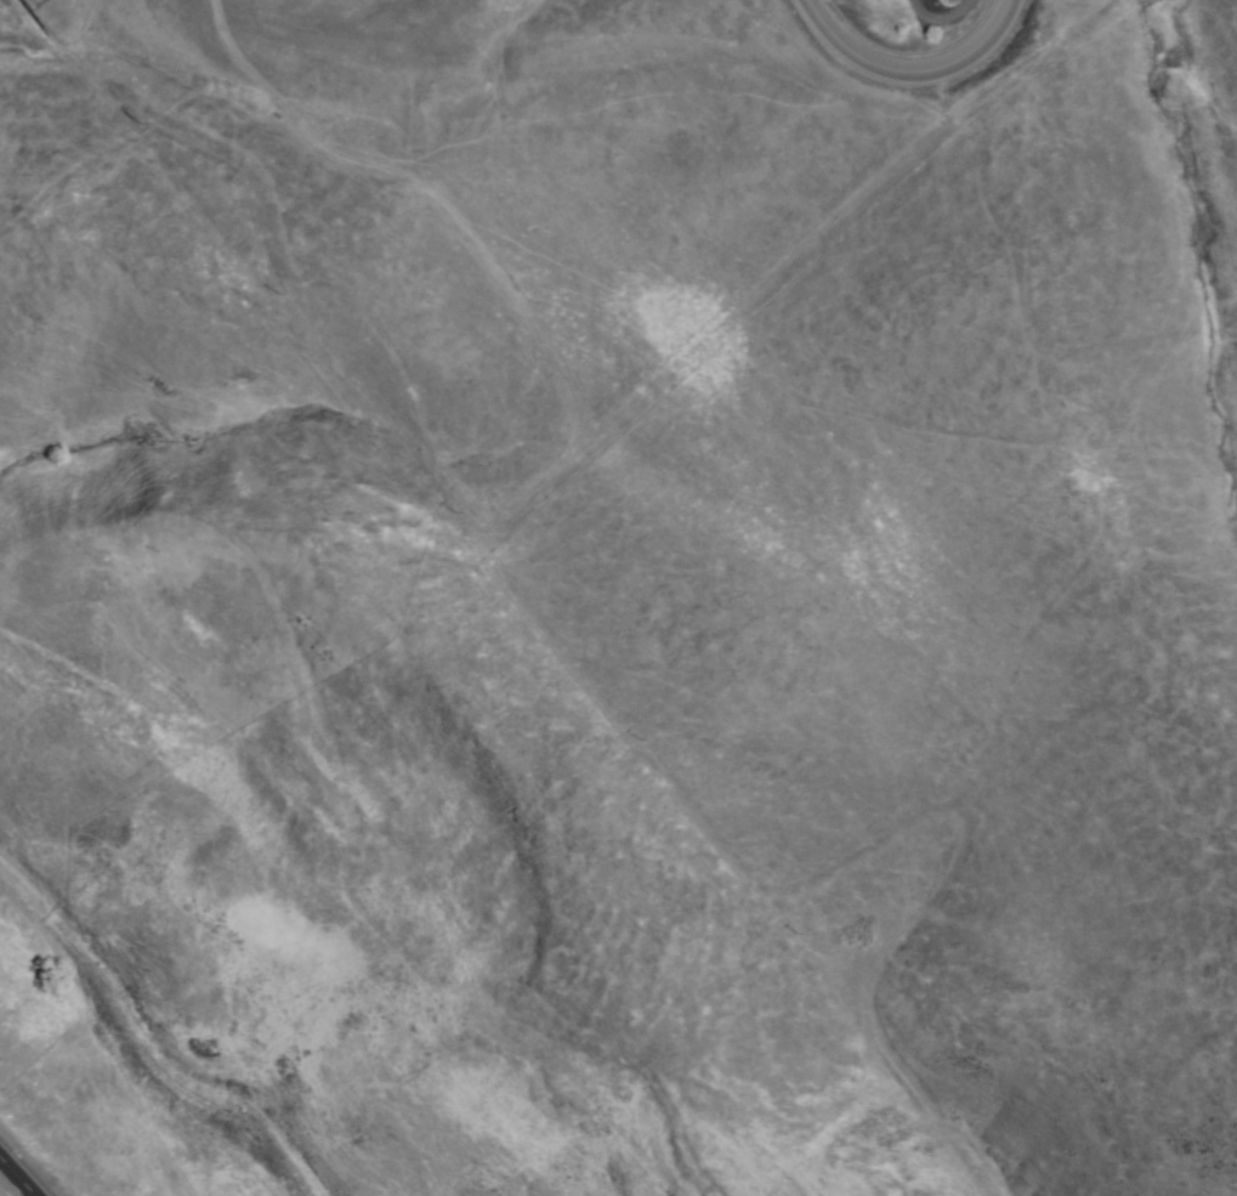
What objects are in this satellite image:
road: (910, 68)
power tower: (795, 934)
power tower: (925, 1155)
road: (10, 1185)

